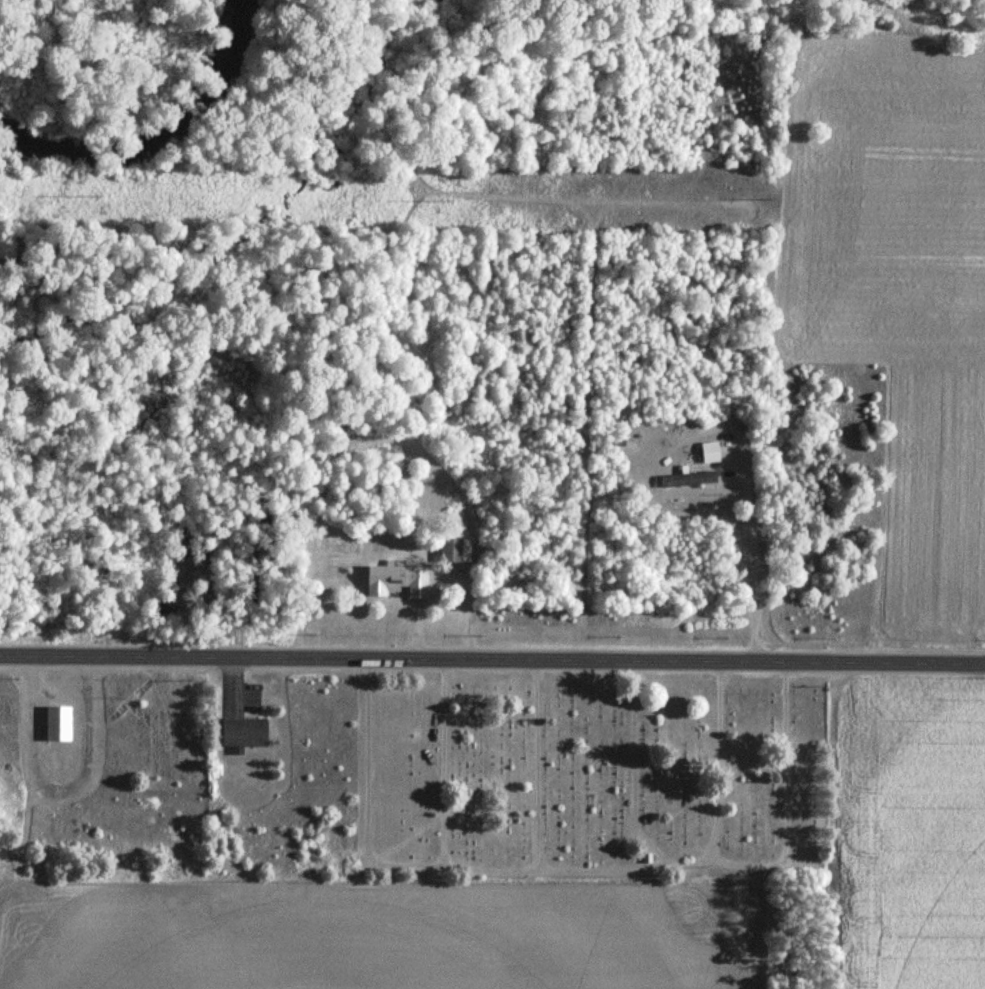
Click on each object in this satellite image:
river: (153, 132)
building: (713, 451)
building: (691, 478)
building: (456, 550)
road: (746, 551)
building: (398, 582)
road: (492, 661)
building: (61, 723)
building: (246, 731)
park: (583, 774)

